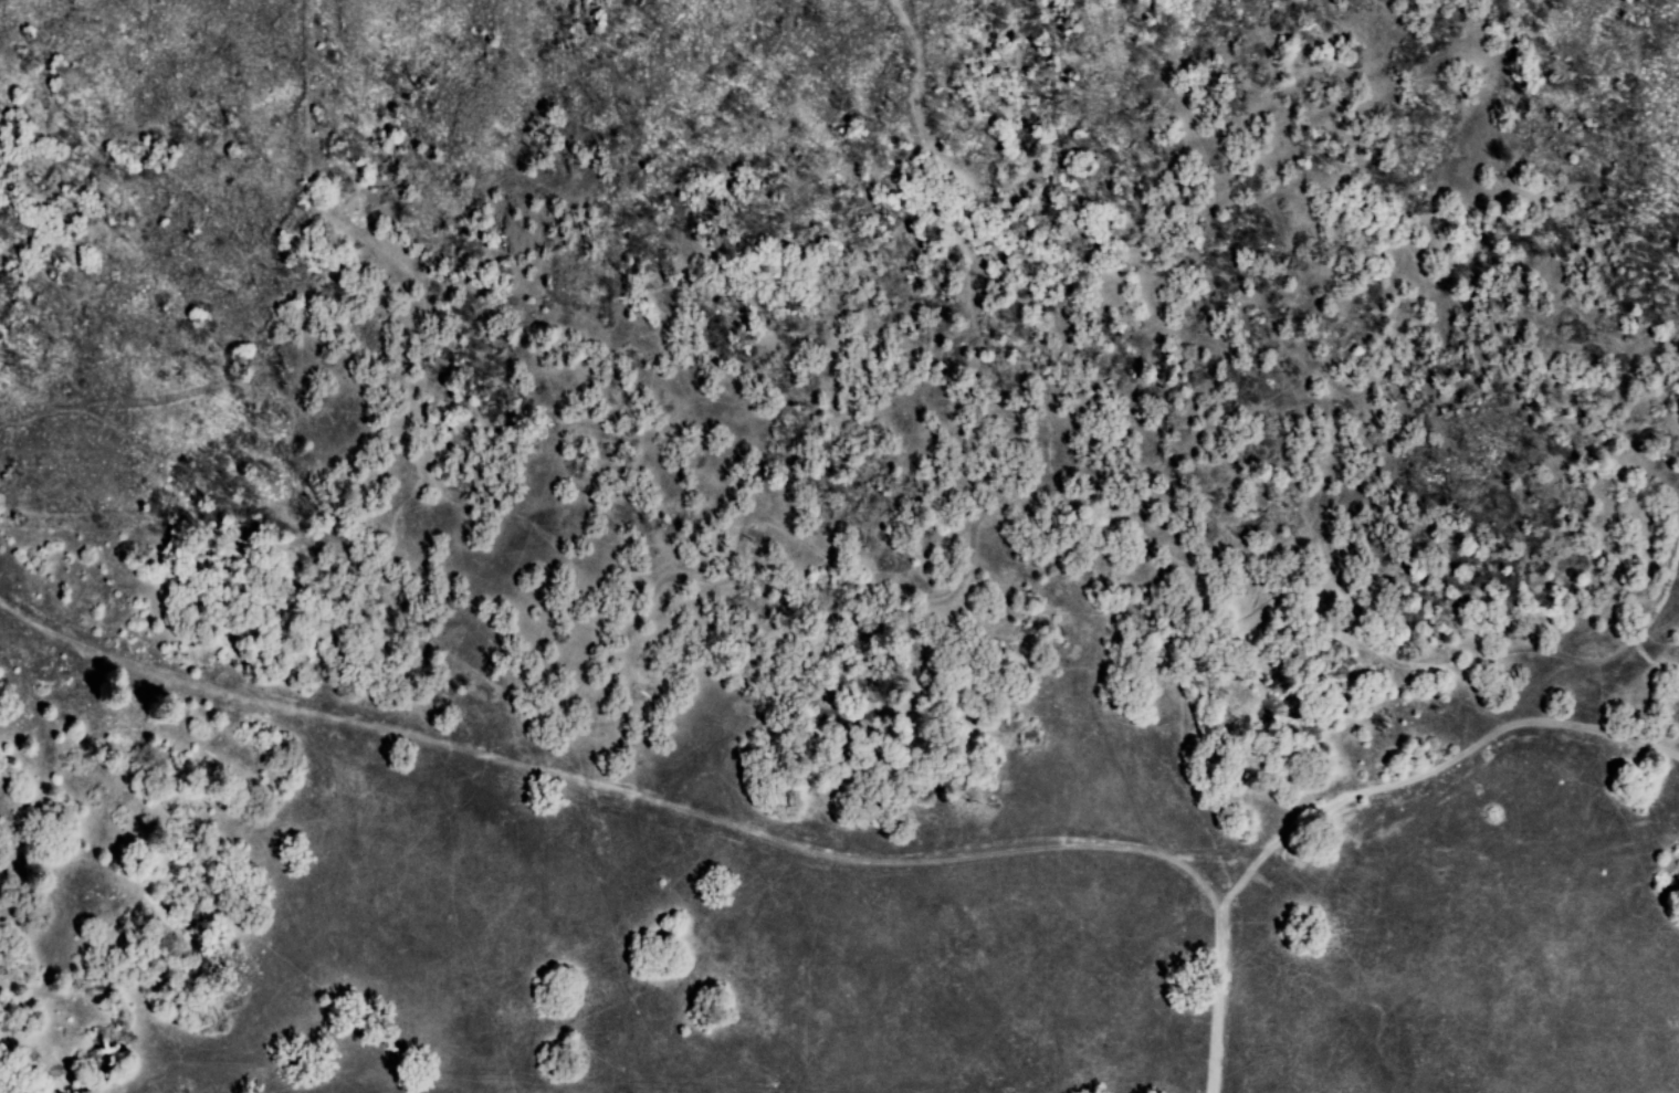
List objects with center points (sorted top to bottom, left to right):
road: (303, 353)
road: (1114, 524)
road: (1444, 773)

